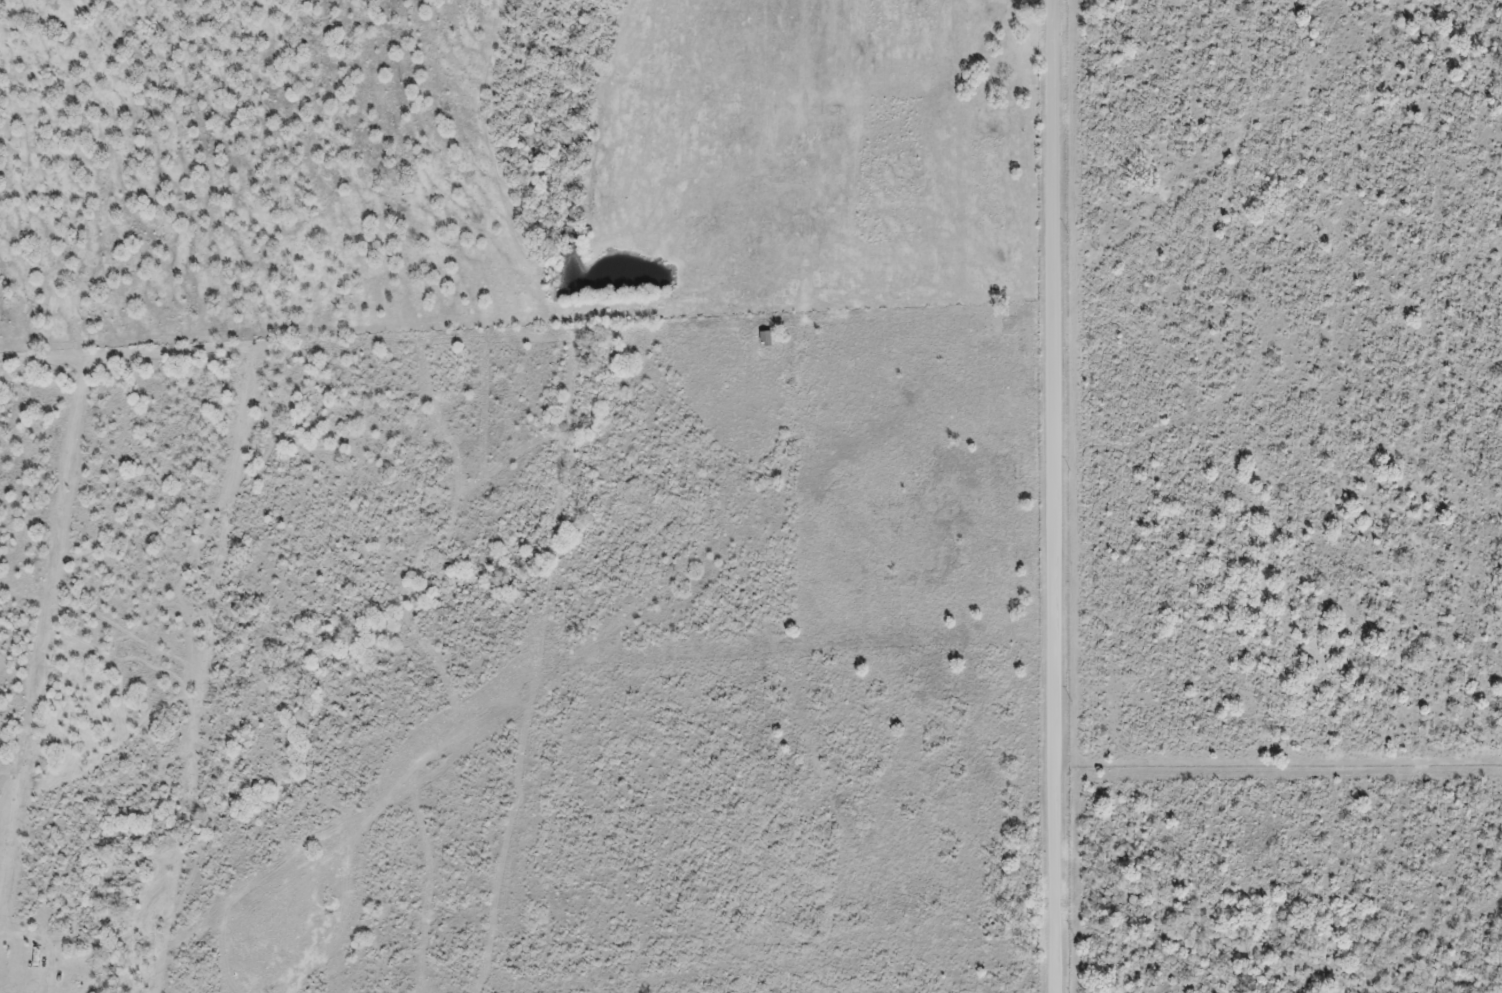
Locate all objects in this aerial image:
road: (1058, 496)

